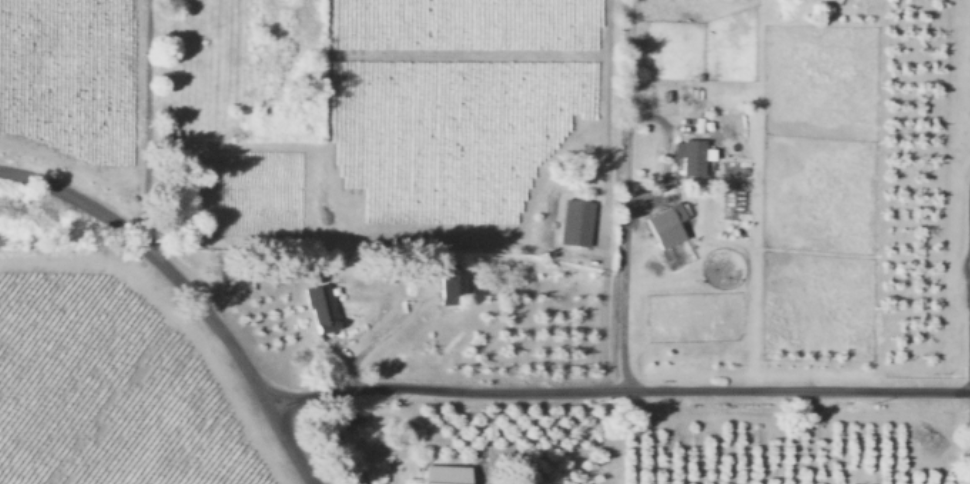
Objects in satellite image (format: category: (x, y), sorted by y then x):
road: (142, 121)
road: (668, 157)
building: (689, 157)
road: (630, 195)
building: (575, 224)
building: (664, 226)
building: (451, 284)
road: (961, 288)
road: (193, 290)
building: (320, 309)
road: (623, 390)
building: (445, 475)

